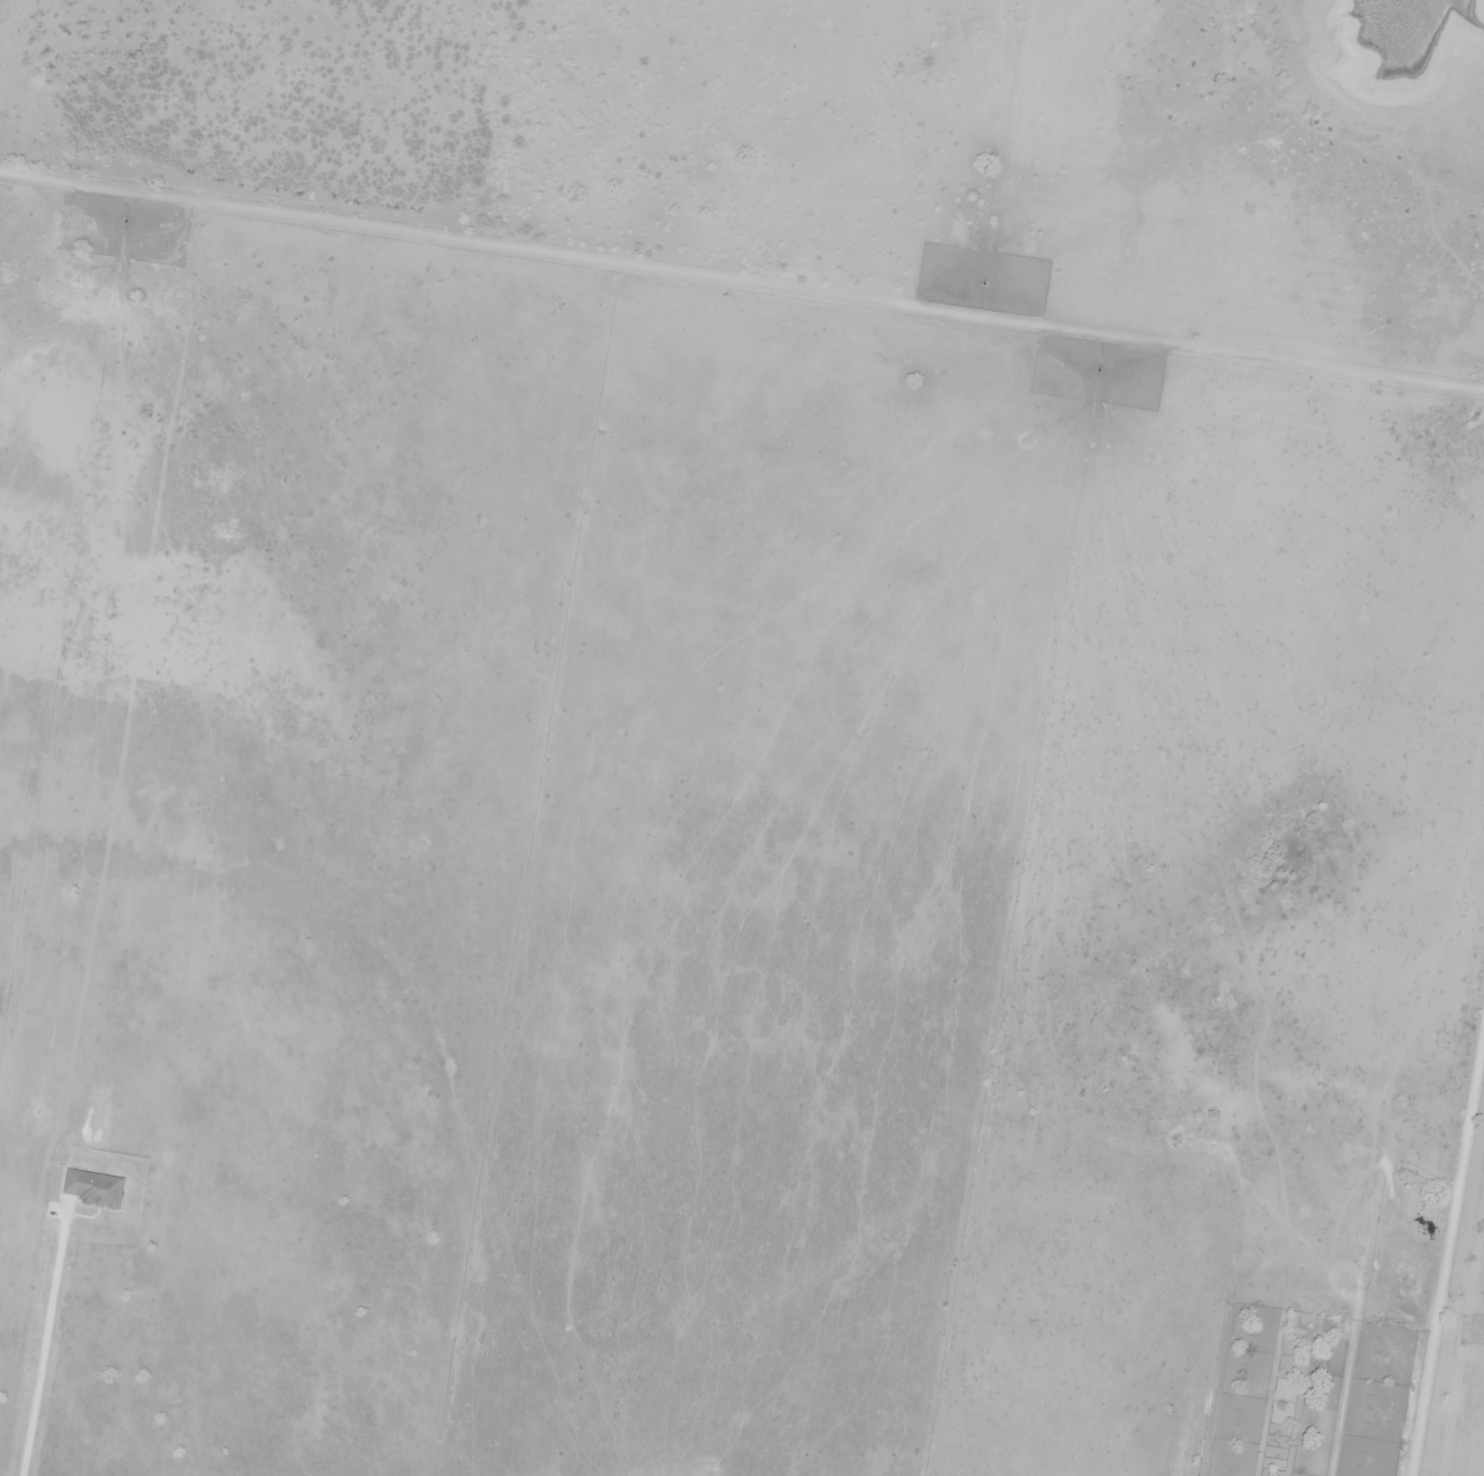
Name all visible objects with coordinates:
road: (1447, 1256)

